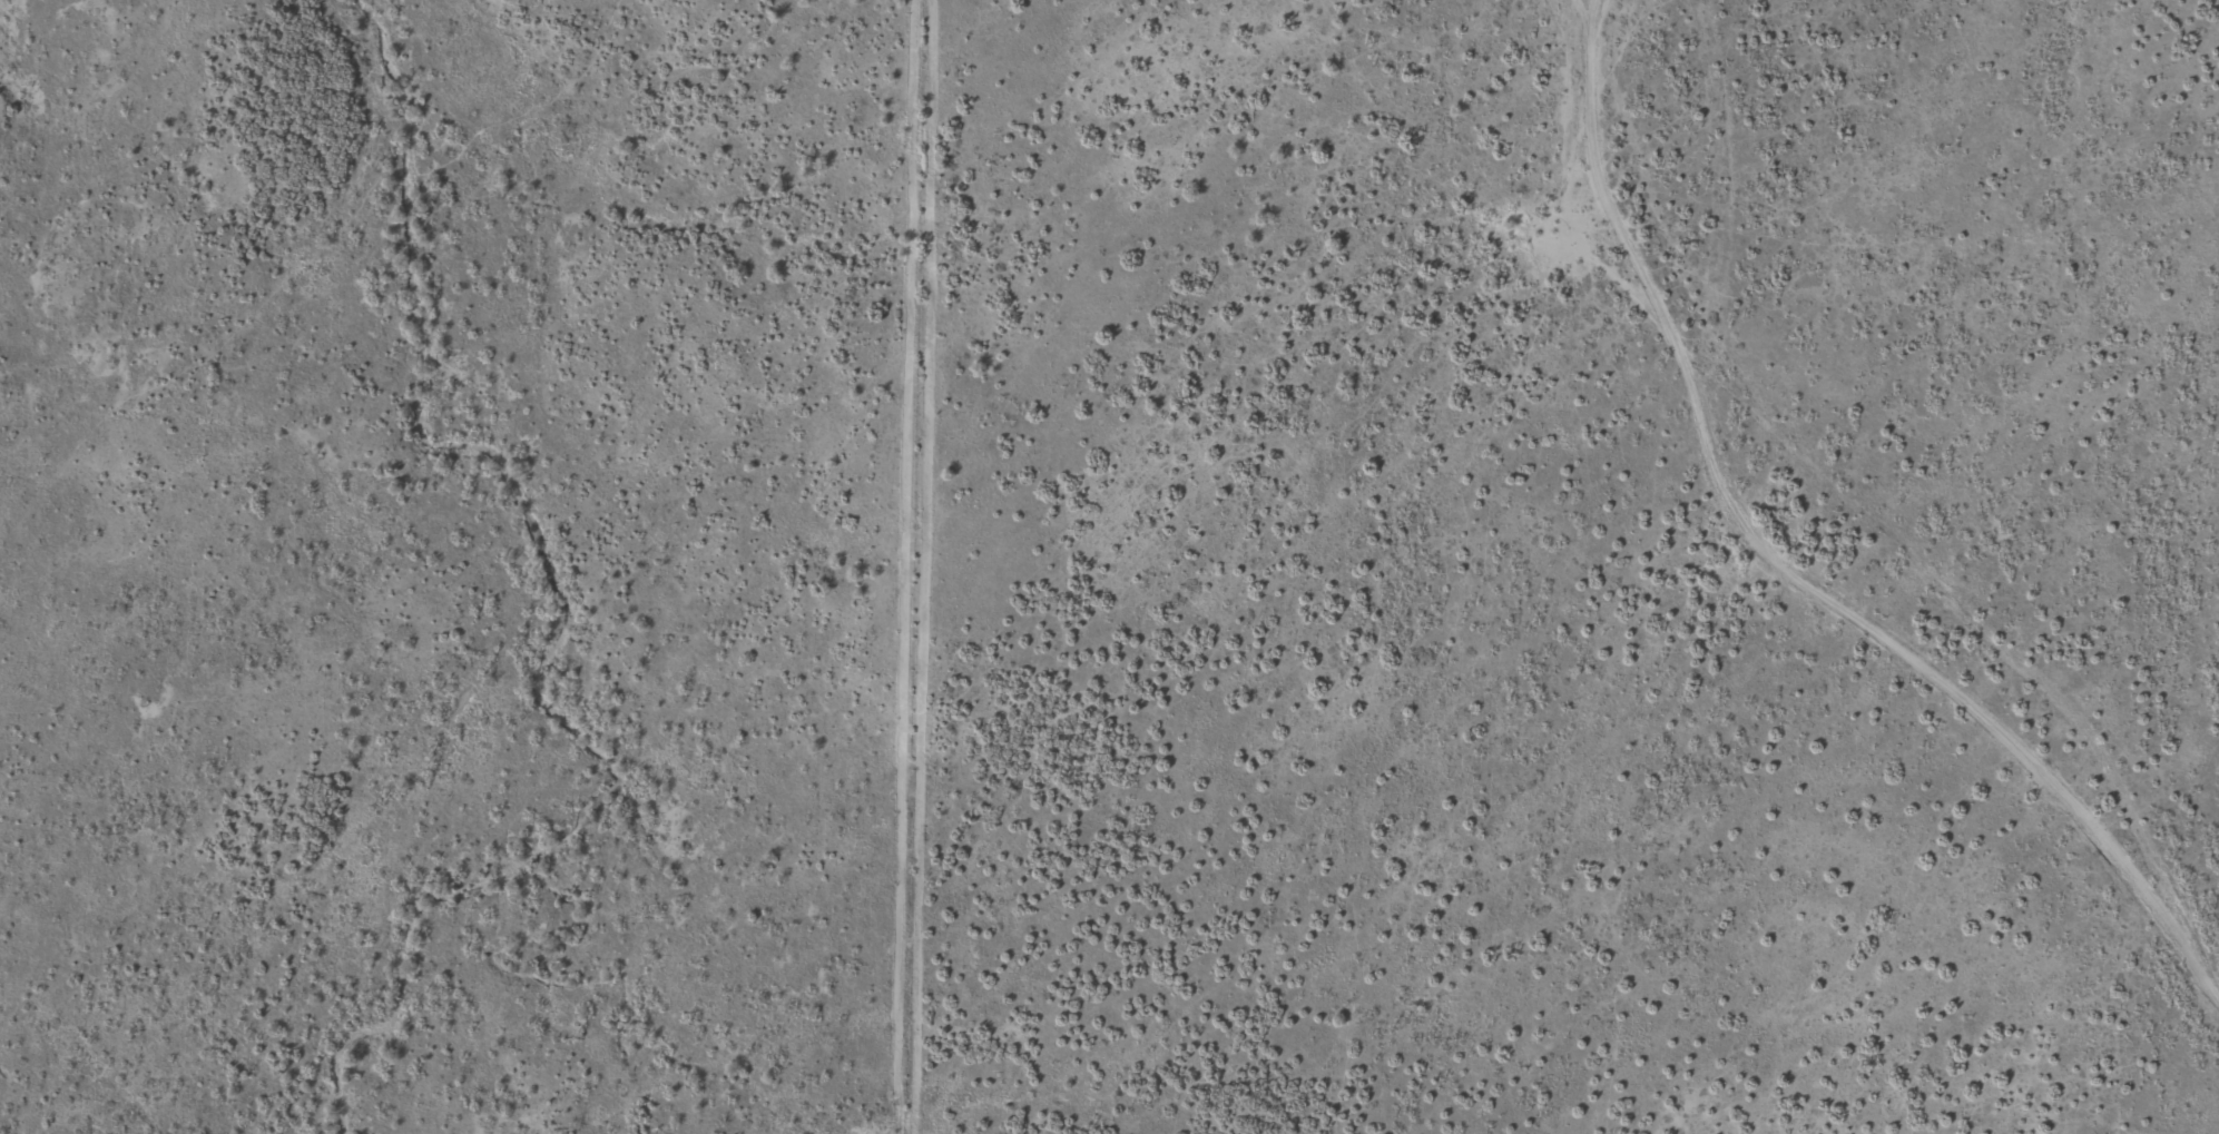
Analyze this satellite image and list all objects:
road: (1863, 502)

